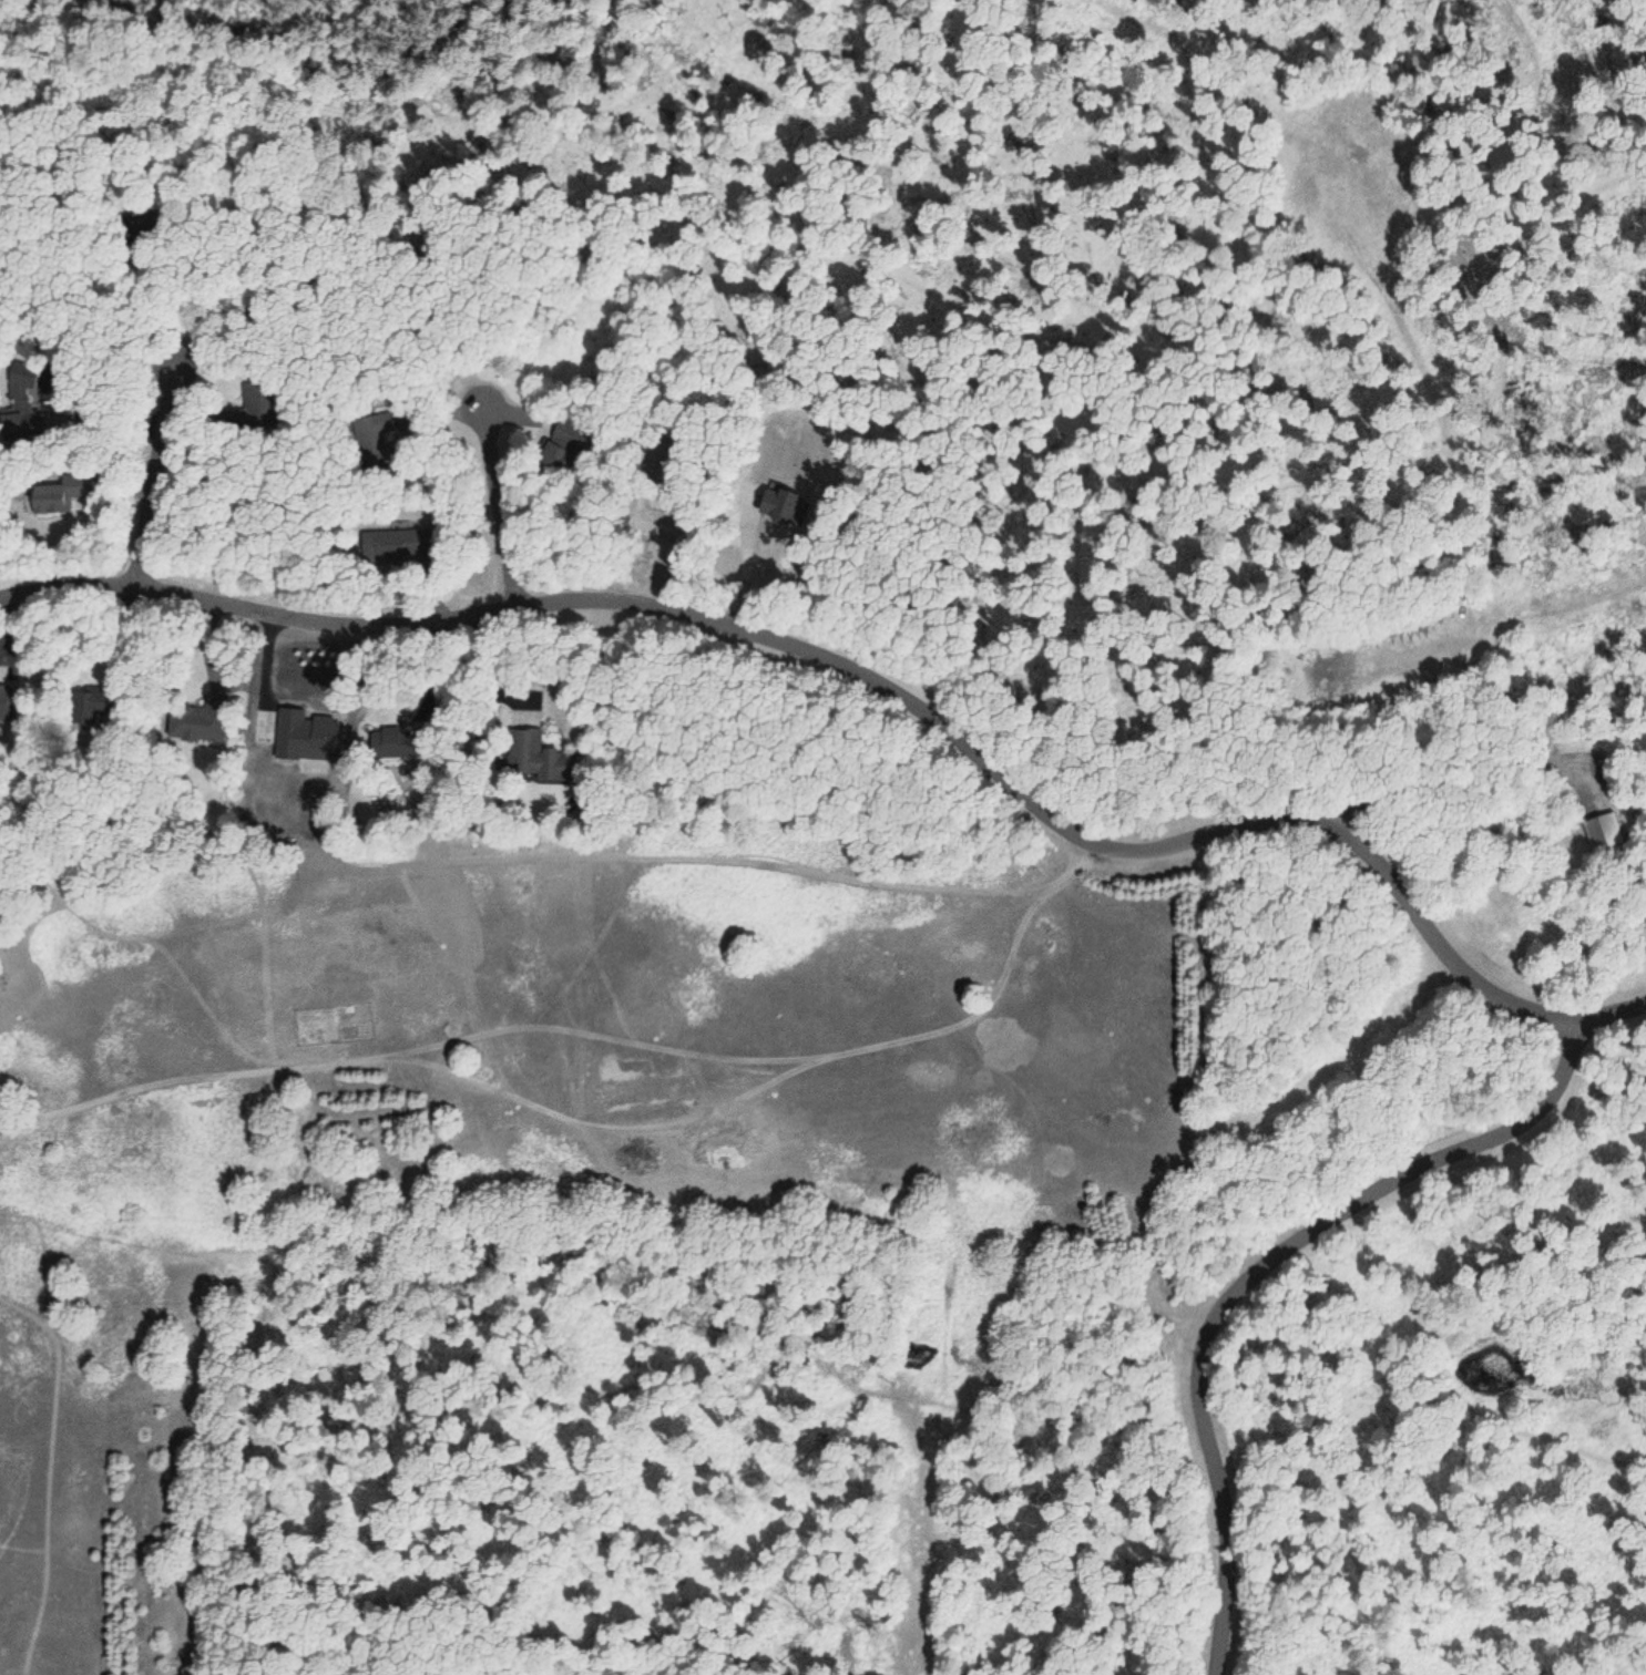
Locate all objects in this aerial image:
building: (29, 424)
road: (151, 482)
building: (53, 499)
road: (502, 502)
road: (587, 599)
building: (9, 703)
building: (85, 710)
building: (185, 725)
building: (532, 756)
road: (1377, 789)
building: (1604, 832)
road: (1433, 936)
road: (1284, 1250)

